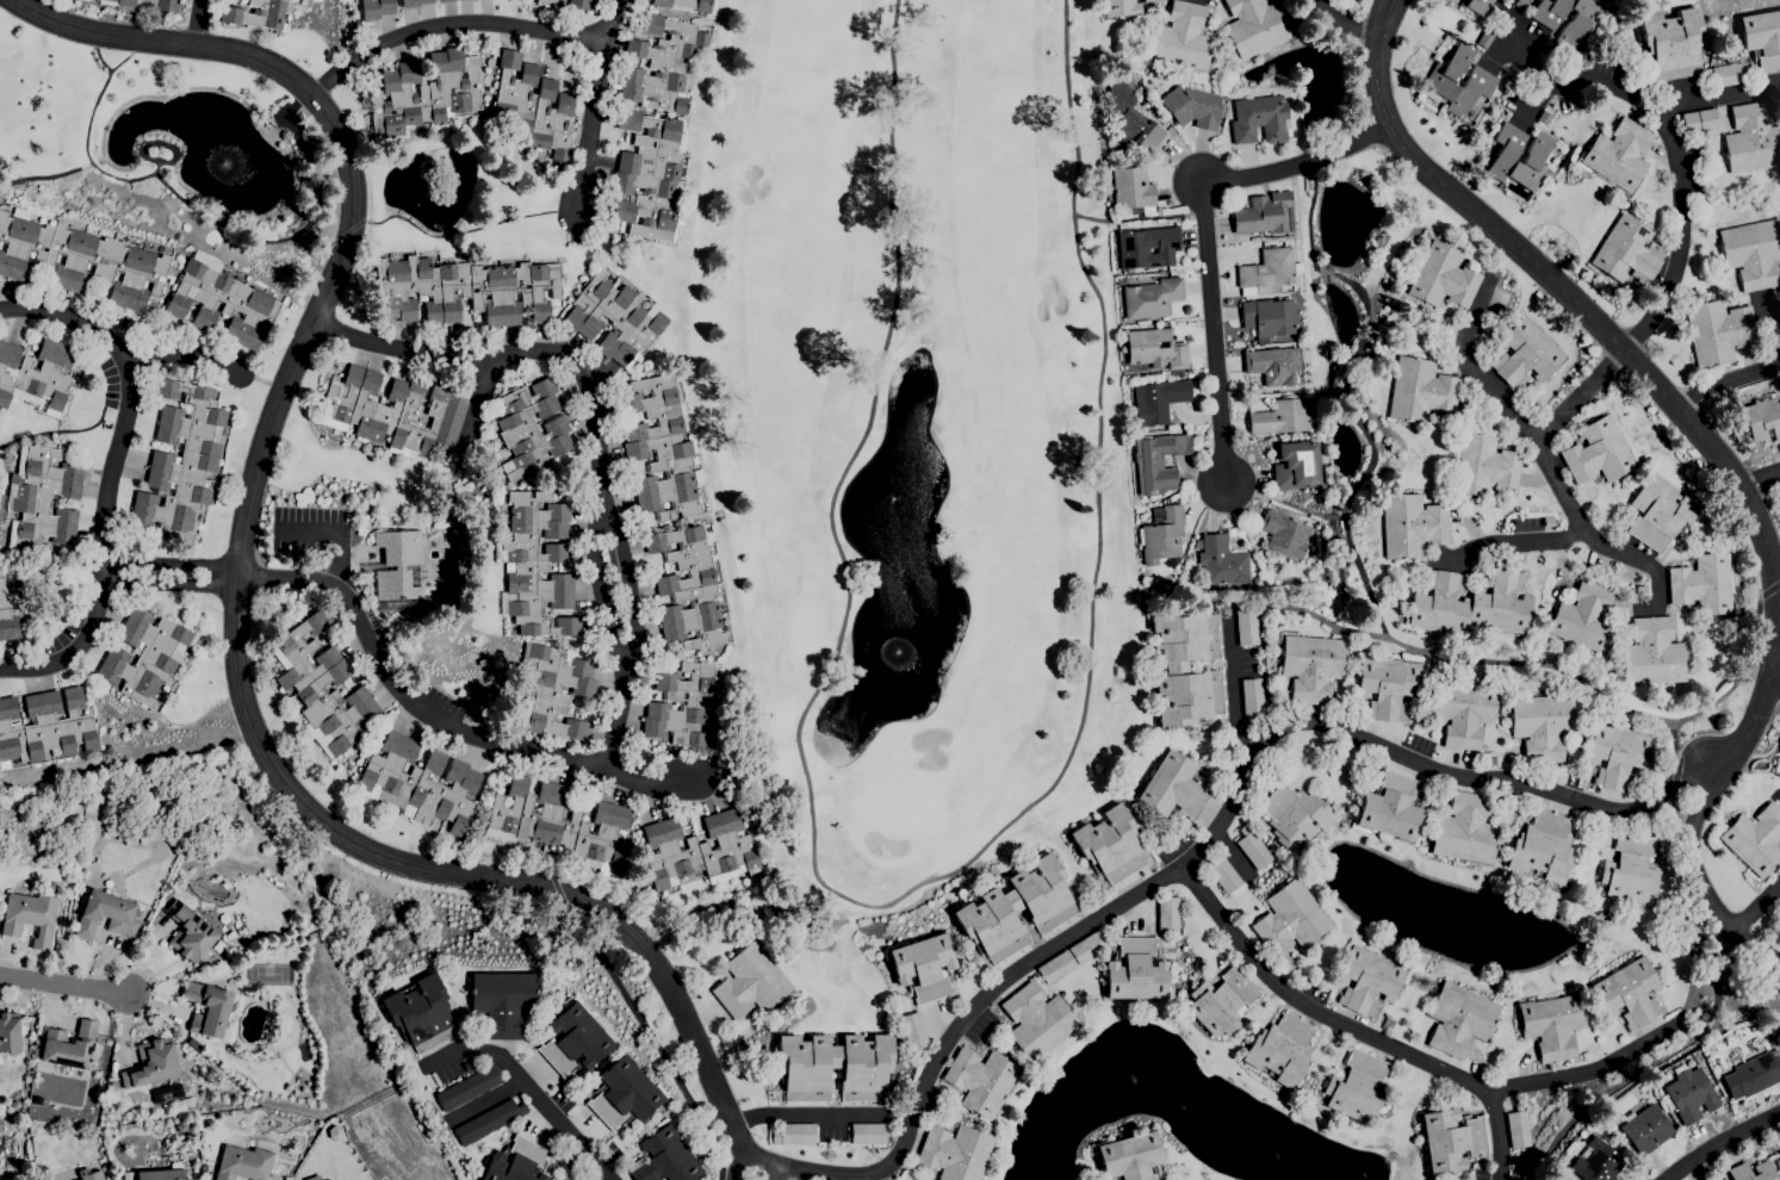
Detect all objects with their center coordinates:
building: (85, 0)
building: (446, 0)
building: (1147, 0)
building: (1158, 0)
building: (413, 2)
building: (551, 2)
building: (143, 4)
building: (579, 4)
building: (1521, 4)
building: (689, 5)
building: (1477, 6)
building: (1120, 7)
building: (1350, 7)
building: (376, 8)
building: (258, 13)
road: (616, 19)
building: (1568, 19)
road: (1350, 20)
road: (197, 23)
road: (449, 24)
building: (1257, 25)
building: (1183, 37)
building: (1486, 37)
building: (1762, 39)
building: (1673, 43)
building: (660, 64)
building: (1728, 74)
building: (1477, 85)
building: (426, 92)
road: (1718, 98)
building: (534, 106)
building: (1193, 107)
building: (1129, 114)
building: (1260, 119)
building: (1699, 120)
road: (593, 123)
building: (1751, 138)
building: (1533, 154)
building: (1618, 155)
building: (649, 176)
road: (1679, 179)
building: (1130, 187)
building: (1265, 213)
road: (348, 219)
road: (1212, 234)
building: (1145, 248)
building: (1626, 251)
building: (1753, 253)
building: (80, 260)
building: (1267, 269)
building: (1441, 277)
building: (465, 290)
building: (1152, 297)
building: (249, 302)
road: (1583, 309)
road: (74, 318)
building: (1267, 318)
building: (615, 319)
building: (1486, 331)
building: (1718, 331)
building: (1152, 349)
building: (1525, 354)
road: (190, 358)
building: (1274, 365)
road: (1759, 368)
building: (36, 374)
building: (1420, 391)
road: (1586, 393)
building: (1158, 400)
building: (391, 412)
road: (475, 412)
building: (1280, 417)
building: (1762, 418)
building: (531, 428)
road: (594, 434)
park: (931, 446)
building: (662, 449)
road: (1550, 449)
building: (1598, 452)
building: (181, 460)
building: (1158, 461)
building: (1295, 465)
building: (1483, 465)
road: (111, 466)
road: (1765, 483)
building: (42, 499)
building: (1660, 513)
building: (1548, 521)
building: (1410, 526)
road: (336, 533)
building: (1161, 533)
building: (1284, 534)
road: (1522, 539)
building: (1313, 549)
building: (1221, 560)
building: (399, 565)
building: (537, 566)
road: (169, 572)
building: (1703, 584)
building: (688, 590)
building: (1641, 590)
building: (448, 597)
building: (1470, 603)
building: (10, 604)
building: (1583, 617)
building: (1246, 627)
road: (81, 647)
building: (1654, 652)
building: (143, 656)
building: (1184, 666)
building: (1311, 666)
building: (1387, 687)
building: (321, 688)
building: (554, 689)
road: (1235, 695)
building: (1252, 696)
building: (682, 704)
building: (1464, 714)
road: (432, 720)
building: (1543, 725)
building: (44, 727)
building: (1618, 757)
building: (1779, 758)
building: (1342, 760)
building: (1489, 760)
building: (418, 783)
building: (1173, 787)
building: (1390, 808)
building: (1296, 818)
road: (1697, 820)
building: (562, 825)
building: (1464, 830)
building: (1755, 839)
building: (1110, 844)
road: (1207, 847)
building: (1253, 847)
building: (1542, 847)
building: (699, 850)
building: (1630, 868)
building: (1222, 874)
road: (507, 880)
building: (1016, 908)
building: (105, 914)
building: (1167, 914)
road: (1765, 914)
building: (30, 917)
building: (1290, 919)
building: (190, 932)
building: (218, 946)
building: (1087, 946)
building: (923, 967)
building: (1055, 967)
building: (1135, 971)
building: (1366, 980)
building: (750, 982)
road: (64, 985)
building: (1630, 993)
building: (1221, 1001)
building: (502, 1002)
building: (211, 1010)
road: (1321, 1010)
building: (420, 1012)
building: (1458, 1019)
building: (1037, 1020)
building: (1551, 1024)
building: (913, 1033)
building: (10, 1038)
building: (573, 1039)
building: (69, 1045)
building: (1280, 1050)
building: (150, 1063)
building: (470, 1064)
building: (835, 1067)
road: (1596, 1070)
building: (1751, 1075)
building: (980, 1080)
road: (528, 1081)
building: (467, 1087)
building: (1356, 1087)
building: (108, 1088)
building: (167, 1092)
building: (1689, 1092)
building: (622, 1093)
road: (488, 1099)
building: (14, 1104)
road: (806, 1114)
building: (488, 1120)
building: (209, 1124)
building: (0, 1125)
building: (186, 1126)
building: (1518, 1128)
building: (1645, 1128)
building: (868, 1134)
building: (794, 1135)
road: (1505, 1137)
building: (1450, 1138)
road: (1726, 1144)
building: (1779, 1151)
building: (955, 1153)
building: (1130, 1156)
building: (663, 1157)
road: (753, 1157)
building: (515, 1162)
building: (1598, 1162)
building: (243, 1163)
building: (1775, 1166)
building: (1762, 1167)
building: (203, 1168)
building: (163, 1173)
building: (89, 1174)
building: (118, 1179)
building: (191, 1179)
building: (329, 1179)

